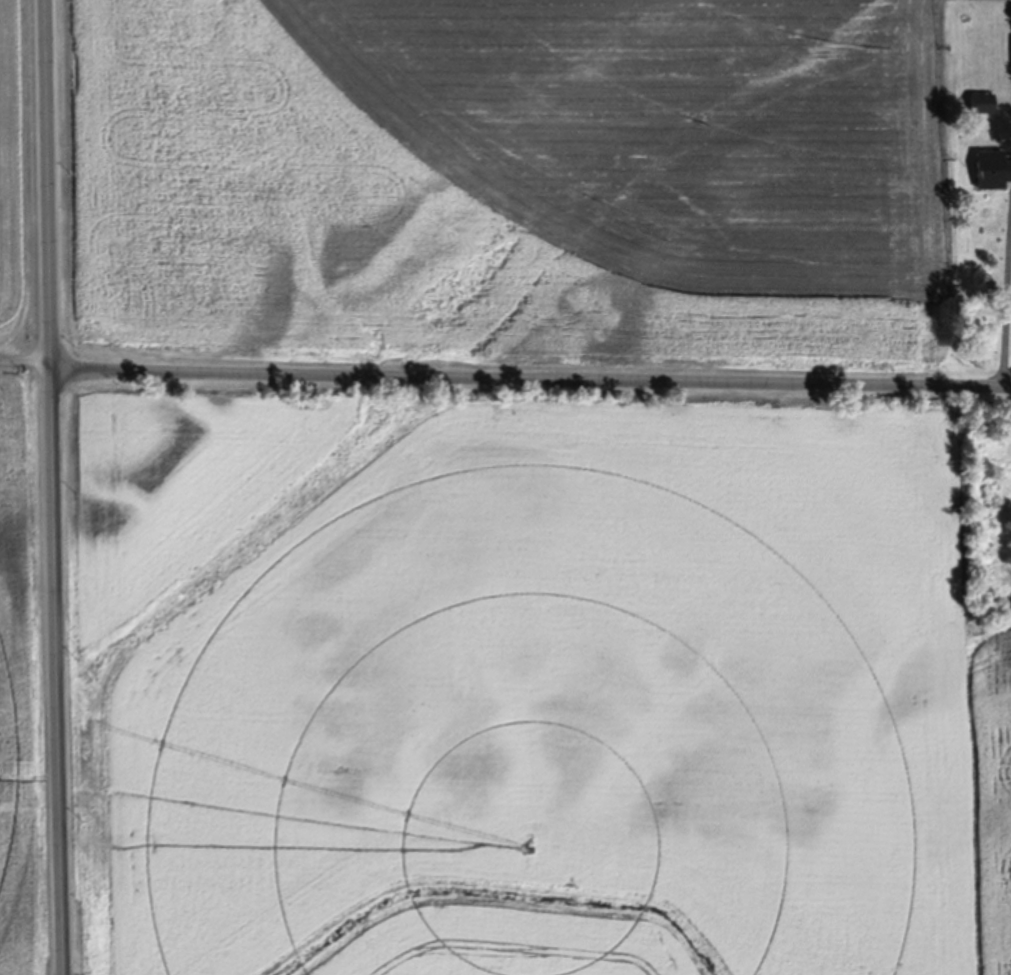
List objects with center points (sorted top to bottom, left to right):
building: (995, 168)
road: (1004, 300)
road: (25, 358)
road: (530, 377)
road: (53, 487)

